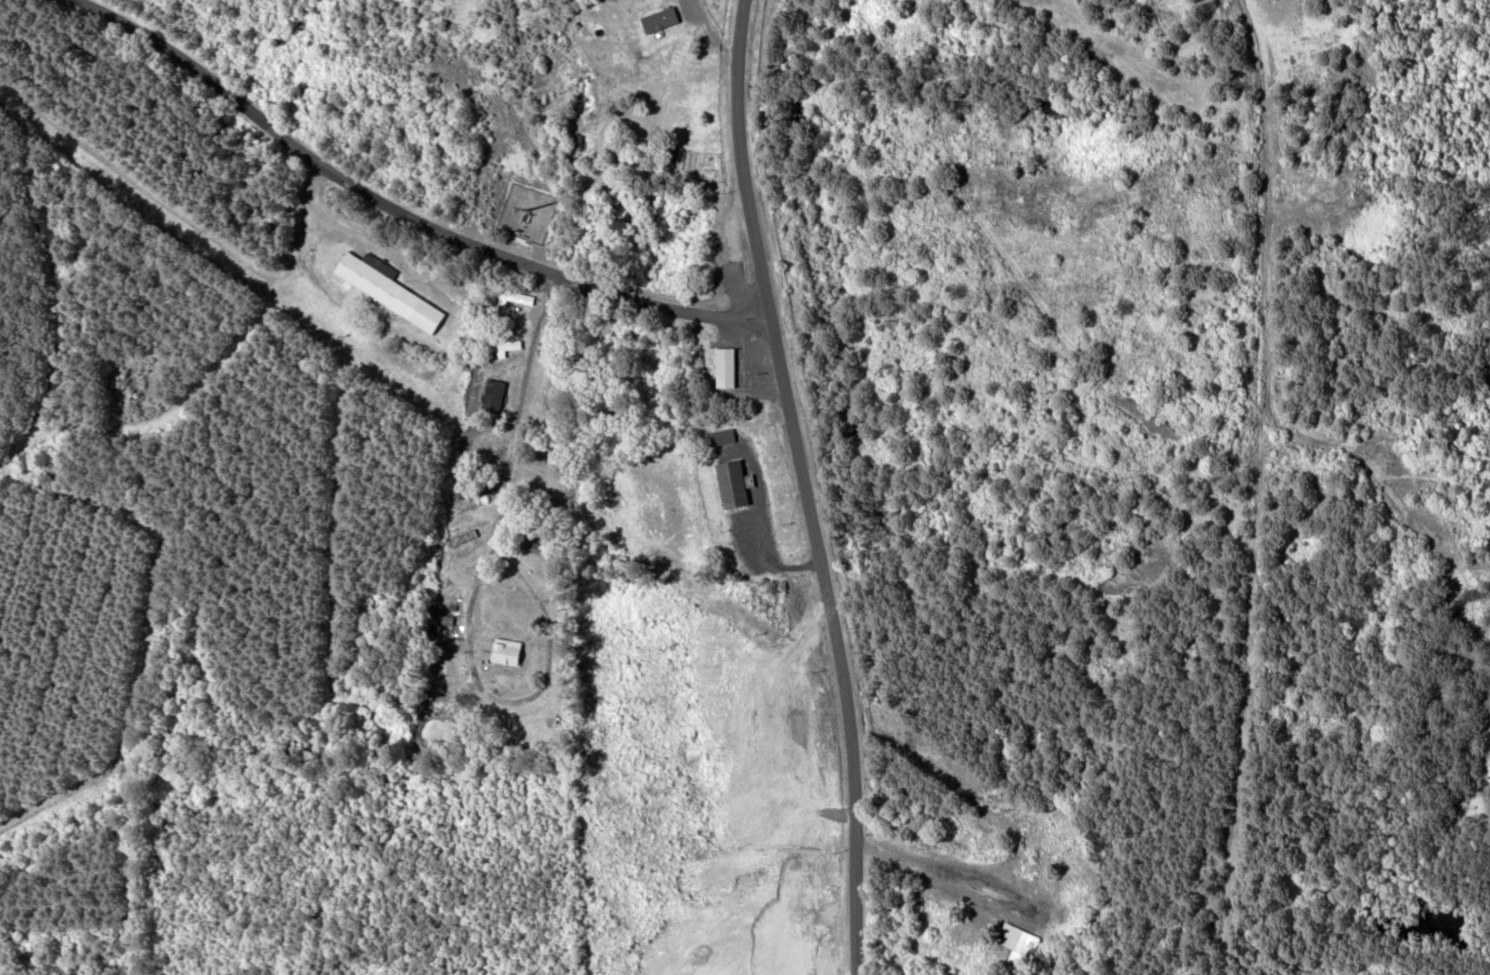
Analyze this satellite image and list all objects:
building: (661, 20)
road: (397, 207)
building: (390, 289)
building: (727, 369)
building: (557, 392)
building: (496, 397)
road: (527, 409)
building: (723, 438)
building: (735, 485)
road: (804, 487)
building: (536, 548)
building: (509, 652)
building: (1020, 943)

